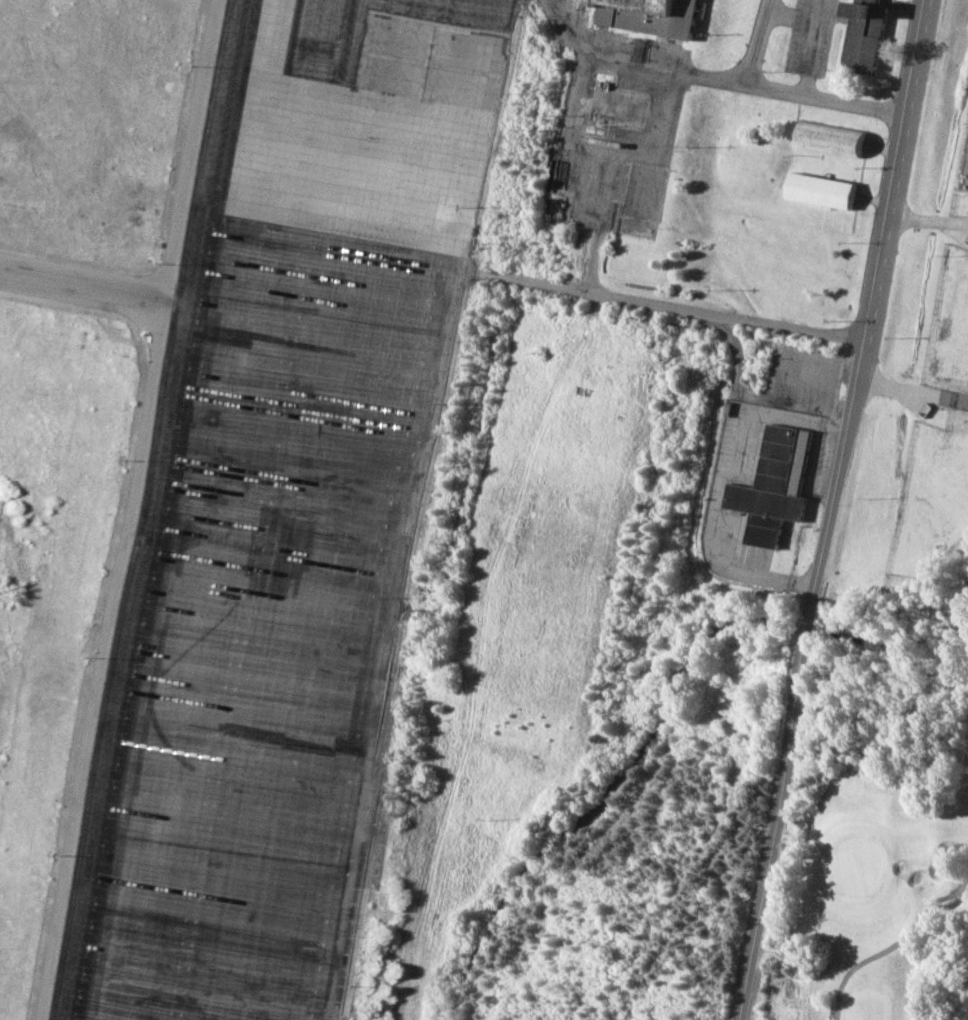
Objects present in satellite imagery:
airport hangar: (649, 15)
building: (649, 15)
building: (863, 33)
parking lot: (804, 35)
road: (575, 45)
road: (692, 72)
road: (783, 90)
building: (827, 137)
road: (880, 147)
building: (817, 190)
road: (871, 199)
road: (927, 218)
road: (595, 265)
road: (669, 305)
road: (730, 350)
road: (912, 390)
building: (772, 485)
road: (828, 509)
road: (736, 571)
road: (483, 650)
park: (875, 874)

